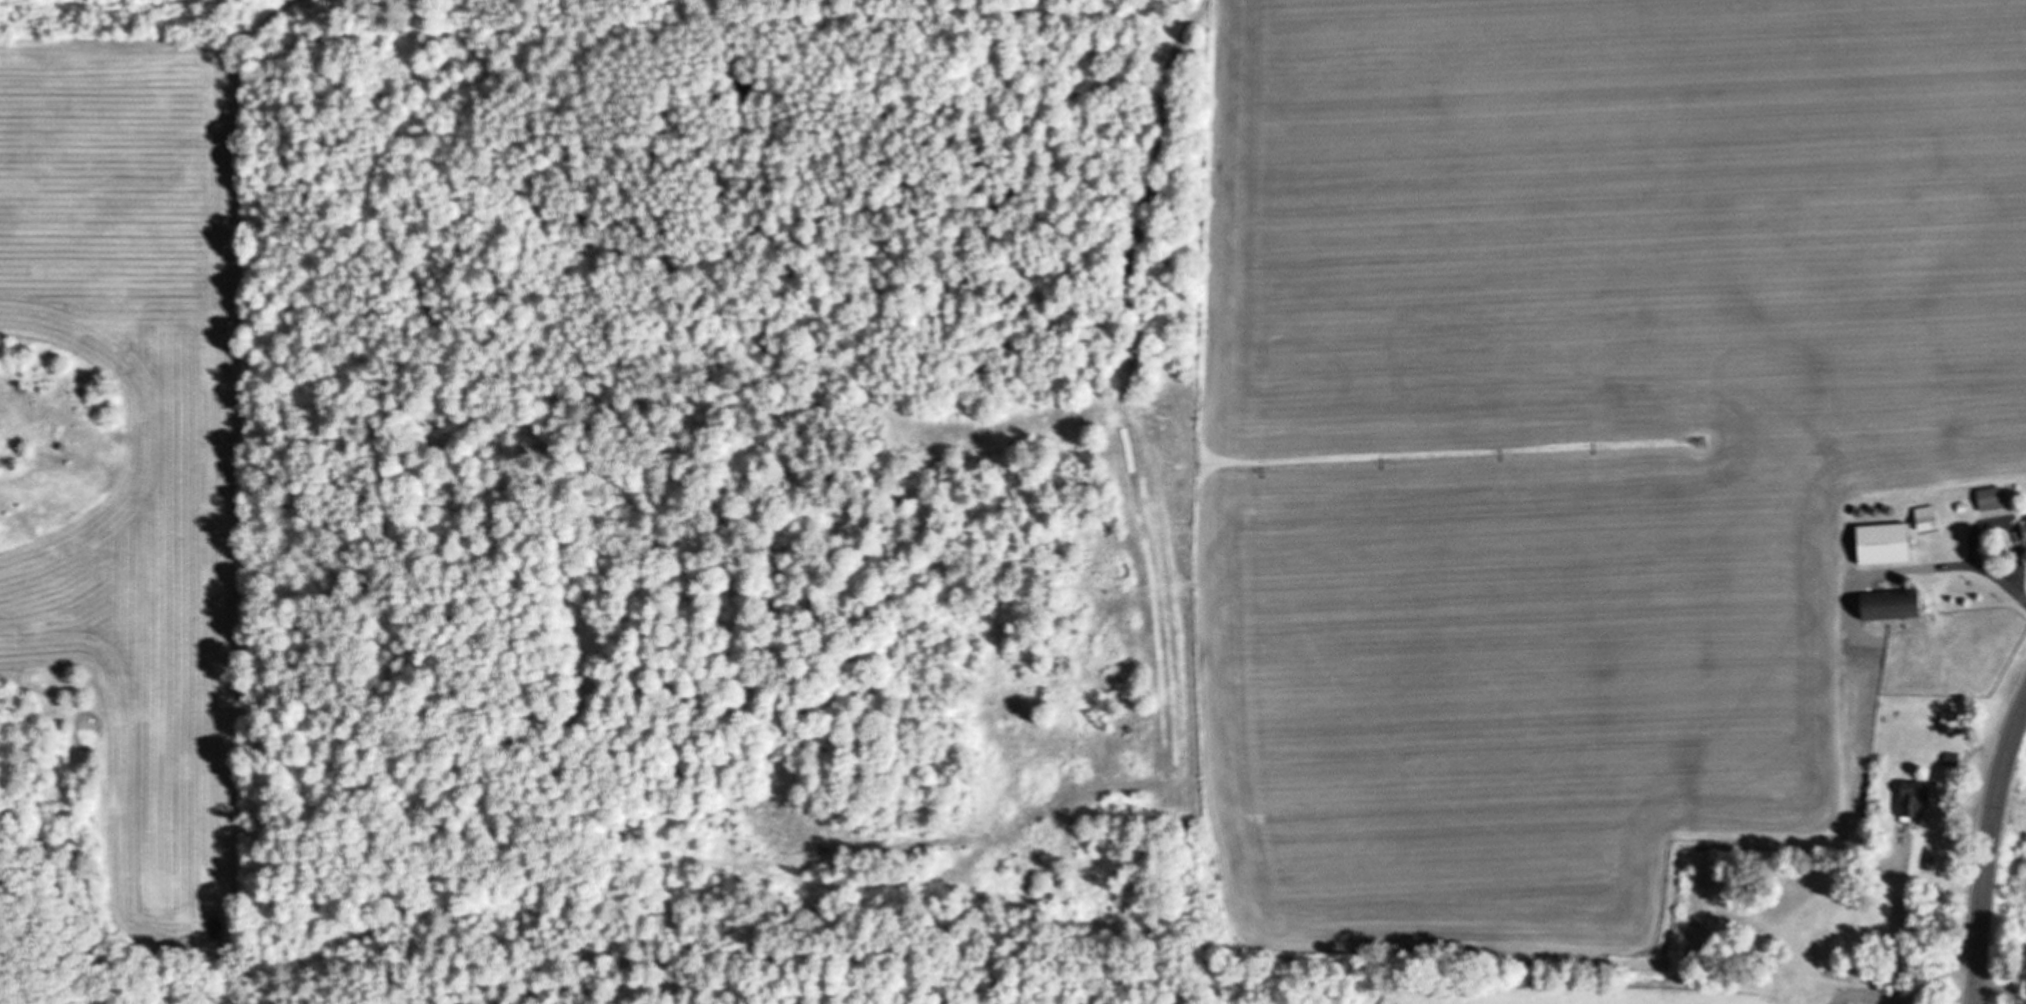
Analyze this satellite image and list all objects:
building: (1987, 498)
building: (1922, 518)
building: (2022, 531)
building: (1878, 544)
building: (1885, 607)
building: (1947, 759)
building: (1909, 800)
road: (1987, 850)

